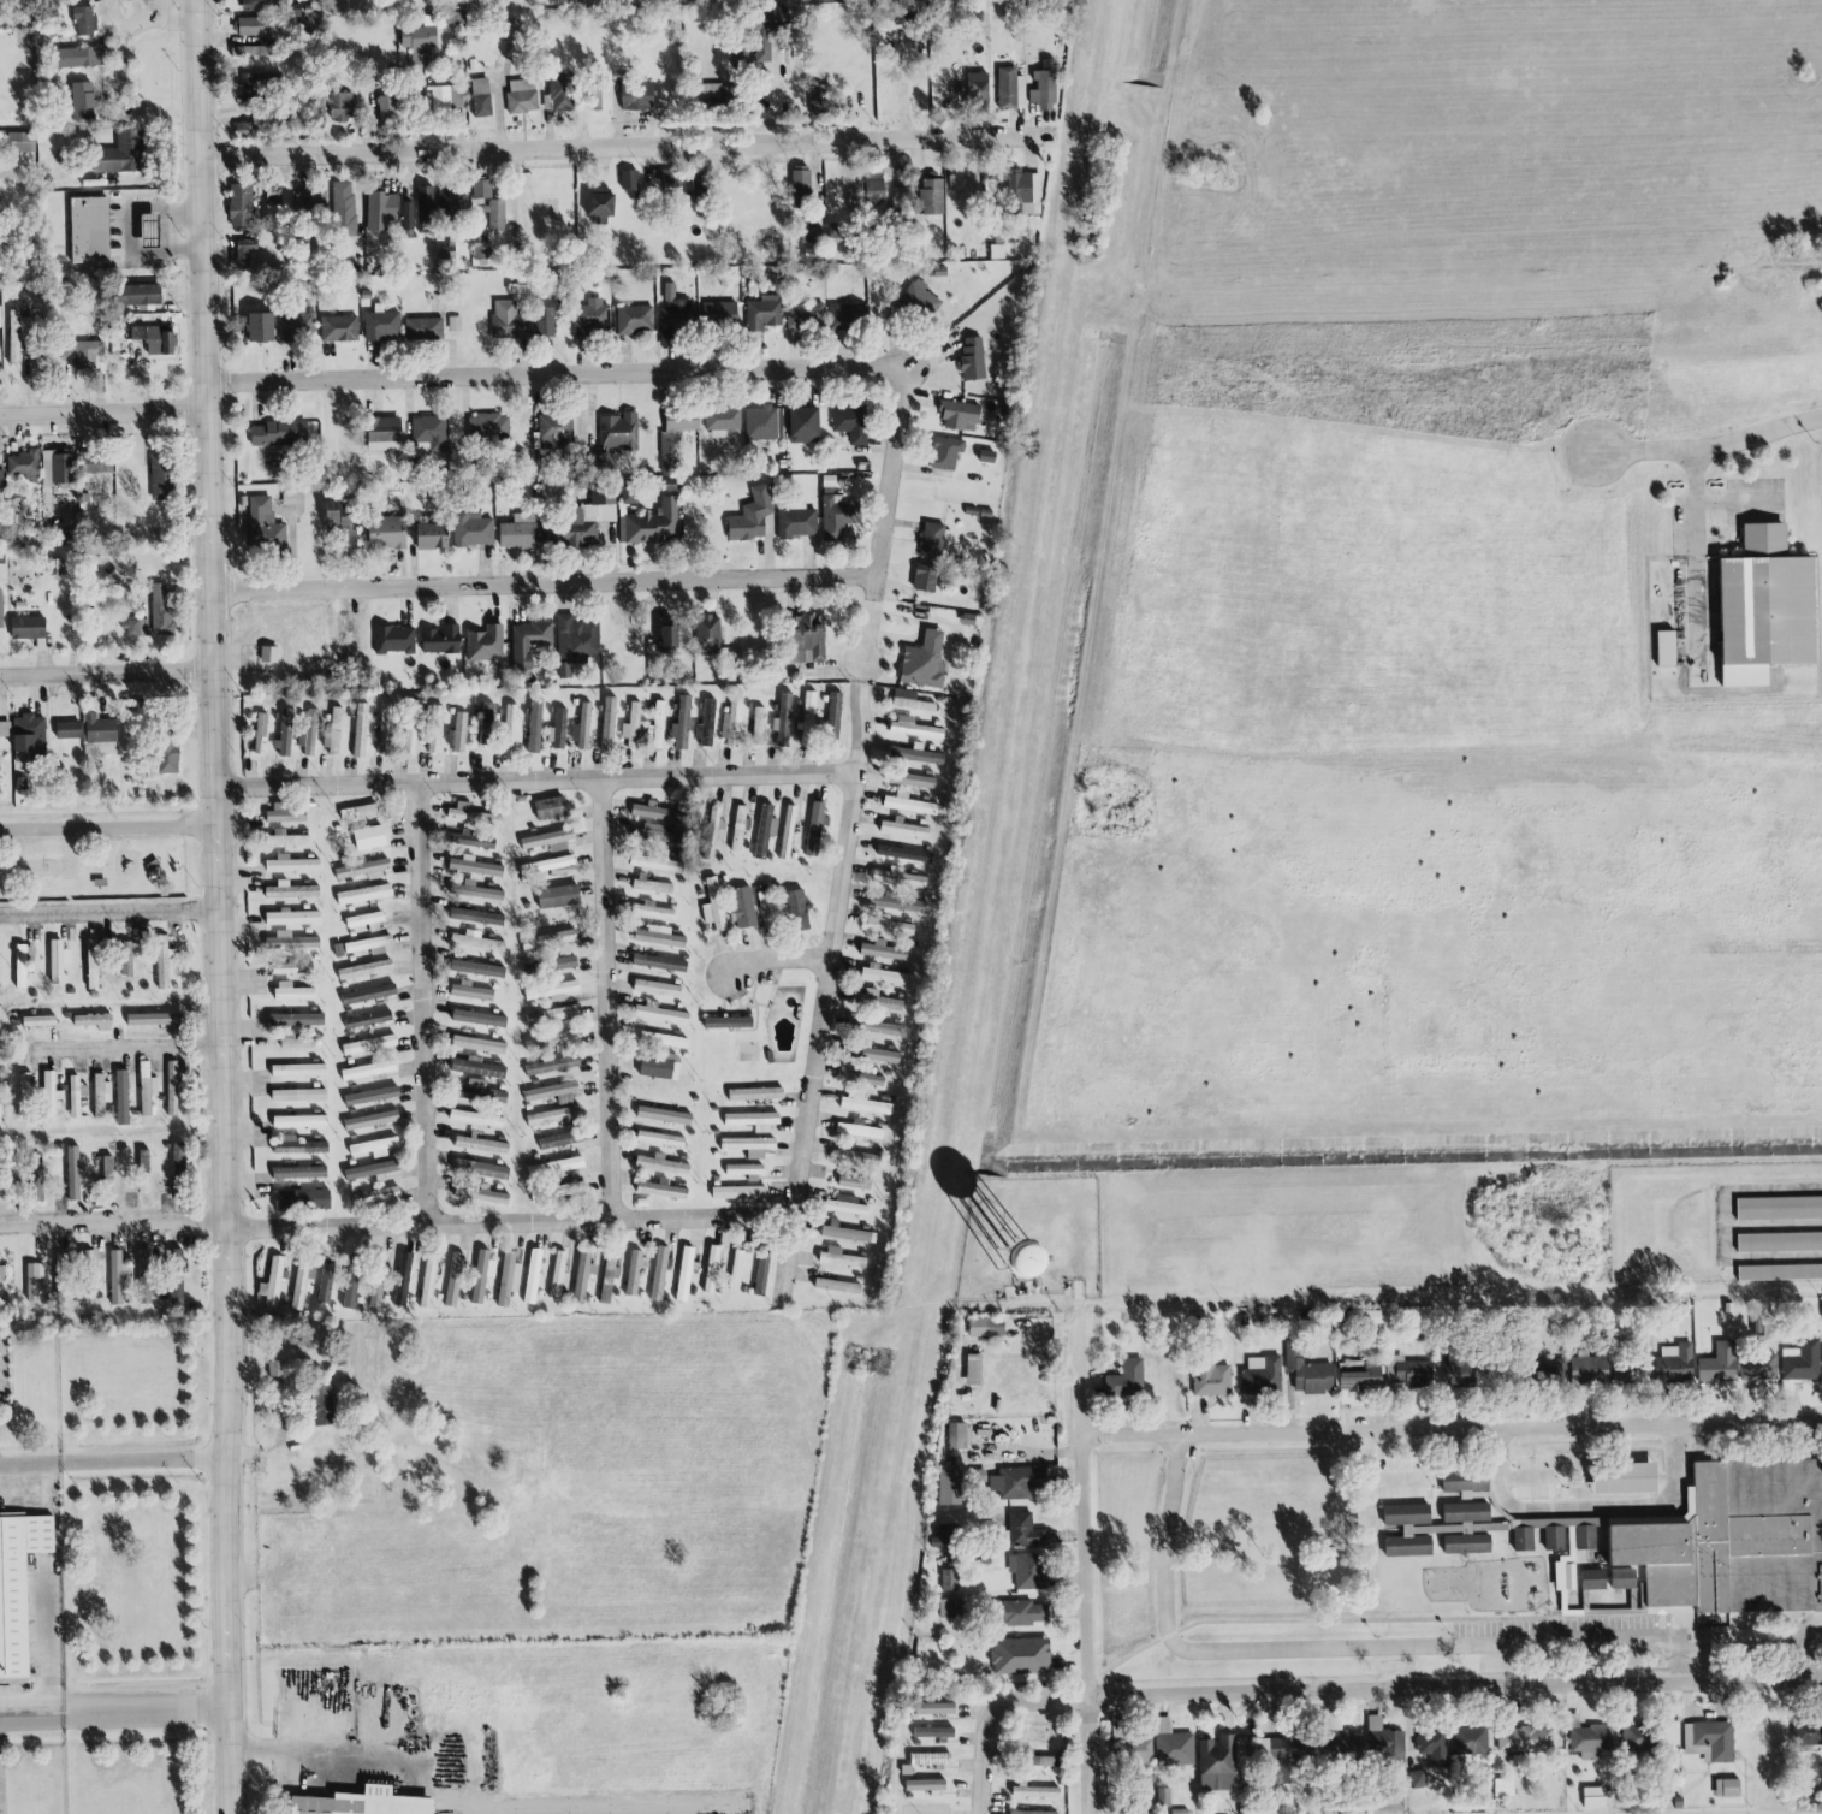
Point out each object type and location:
building: (256, 5)
building: (84, 20)
road: (172, 22)
road: (130, 24)
building: (248, 25)
building: (767, 30)
building: (420, 41)
building: (251, 51)
building: (81, 55)
building: (977, 87)
building: (1004, 87)
building: (1045, 87)
building: (253, 88)
building: (559, 94)
building: (717, 95)
building: (522, 96)
building: (637, 96)
building: (481, 97)
building: (447, 99)
building: (81, 100)
building: (819, 100)
building: (338, 106)
building: (386, 109)
building: (245, 131)
building: (22, 142)
road: (624, 152)
building: (121, 154)
building: (667, 178)
building: (629, 183)
building: (699, 184)
building: (873, 188)
building: (801, 189)
building: (481, 190)
building: (1025, 191)
building: (274, 195)
building: (932, 197)
building: (447, 201)
building: (307, 203)
building: (599, 203)
building: (242, 207)
building: (378, 207)
building: (343, 209)
building: (425, 209)
building: (497, 215)
road: (129, 230)
building: (90, 231)
building: (150, 231)
gas station: (150, 231)
road: (170, 232)
building: (836, 236)
building: (480, 248)
building: (997, 253)
building: (247, 255)
building: (140, 296)
building: (920, 300)
building: (546, 314)
building: (719, 314)
building: (764, 314)
building: (588, 316)
building: (805, 316)
building: (675, 318)
building: (847, 318)
building: (635, 320)
building: (509, 321)
building: (453, 325)
building: (293, 326)
building: (381, 326)
building: (261, 328)
building: (339, 330)
building: (423, 330)
building: (18, 336)
building: (156, 340)
building: (82, 352)
building: (972, 360)
road: (552, 378)
road: (103, 415)
building: (957, 415)
building: (719, 421)
building: (760, 423)
building: (850, 423)
building: (805, 426)
building: (488, 428)
building: (385, 431)
building: (277, 432)
building: (431, 432)
building: (552, 434)
building: (613, 438)
building: (675, 443)
road: (1707, 449)
building: (945, 453)
building: (91, 463)
building: (22, 466)
building: (61, 472)
road: (888, 474)
building: (161, 479)
building: (1, 482)
building: (292, 498)
road: (1741, 502)
building: (752, 517)
building: (836, 517)
building: (582, 521)
building: (340, 523)
building: (796, 523)
building: (263, 524)
building: (652, 524)
building: (469, 529)
building: (387, 532)
building: (518, 533)
building: (433, 538)
building: (932, 541)
road: (1697, 555)
building: (925, 577)
road: (544, 587)
building: (1769, 600)
building: (159, 610)
building: (1, 611)
building: (28, 627)
building: (131, 627)
building: (708, 633)
building: (670, 638)
building: (440, 639)
building: (393, 640)
building: (575, 641)
building: (529, 642)
building: (485, 645)
building: (1667, 648)
building: (268, 656)
building: (922, 659)
road: (106, 675)
road: (866, 675)
building: (910, 701)
building: (833, 711)
building: (734, 718)
building: (783, 718)
building: (807, 718)
building: (486, 723)
building: (607, 723)
building: (658, 724)
building: (681, 724)
building: (706, 724)
building: (510, 725)
building: (758, 725)
building: (534, 727)
building: (581, 727)
building: (631, 727)
building: (385, 728)
building: (914, 728)
building: (5, 729)
building: (260, 729)
building: (434, 729)
building: (69, 730)
building: (360, 730)
building: (557, 730)
building: (28, 731)
building: (310, 731)
building: (284, 733)
building: (333, 733)
building: (99, 734)
building: (458, 734)
building: (410, 735)
building: (167, 753)
building: (915, 754)
building: (910, 779)
road: (535, 781)
building: (909, 804)
building: (550, 807)
building: (358, 812)
building: (657, 812)
building: (285, 814)
building: (471, 814)
building: (815, 826)
road: (108, 828)
building: (902, 828)
building: (738, 829)
building: (764, 830)
building: (789, 831)
building: (660, 832)
building: (712, 834)
building: (285, 837)
building: (369, 837)
building: (548, 840)
park: (100, 853)
building: (903, 854)
building: (655, 862)
building: (291, 864)
building: (473, 865)
building: (547, 865)
building: (361, 869)
building: (898, 878)
building: (651, 885)
building: (291, 890)
building: (475, 891)
building: (363, 894)
building: (558, 895)
building: (897, 903)
building: (713, 905)
road: (216, 906)
building: (741, 906)
building: (766, 909)
building: (796, 909)
building: (654, 911)
road: (108, 914)
building: (292, 917)
building: (475, 917)
building: (366, 921)
building: (889, 925)
building: (659, 937)
building: (546, 938)
building: (290, 942)
building: (475, 942)
building: (362, 944)
building: (883, 950)
building: (129, 956)
road: (778, 960)
building: (58, 961)
building: (162, 961)
building: (95, 962)
building: (659, 962)
building: (20, 966)
building: (289, 968)
building: (477, 968)
building: (364, 970)
building: (884, 976)
building: (657, 989)
building: (550, 990)
building: (292, 991)
building: (470, 991)
building: (369, 994)
road: (607, 1000)
building: (879, 1001)
road: (423, 1003)
building: (659, 1014)
building: (552, 1015)
building: (152, 1019)
building: (296, 1019)
building: (368, 1019)
building: (479, 1019)
building: (38, 1021)
building: (94, 1021)
building: (729, 1022)
building: (883, 1028)
road: (820, 1032)
building: (664, 1041)
building: (552, 1042)
building: (369, 1044)
building: (477, 1045)
road: (129, 1047)
building: (871, 1054)
building: (553, 1066)
building: (657, 1066)
building: (476, 1067)
building: (297, 1069)
building: (368, 1069)
building: (867, 1079)
building: (24, 1083)
building: (147, 1087)
building: (172, 1087)
building: (101, 1090)
building: (550, 1091)
building: (755, 1093)
building: (76, 1095)
building: (297, 1095)
building: (51, 1096)
building: (370, 1096)
building: (123, 1097)
building: (865, 1105)
building: (552, 1115)
building: (664, 1115)
building: (476, 1119)
building: (370, 1120)
building: (753, 1120)
building: (299, 1121)
building: (859, 1130)
building: (560, 1139)
building: (660, 1139)
building: (481, 1145)
building: (748, 1145)
building: (298, 1146)
building: (373, 1148)
building: (857, 1157)
building: (143, 1160)
building: (663, 1164)
building: (107, 1167)
building: (178, 1167)
building: (556, 1167)
building: (481, 1169)
building: (743, 1169)
building: (370, 1170)
building: (73, 1173)
building: (298, 1173)
building: (34, 1176)
building: (854, 1184)
building: (661, 1190)
building: (558, 1191)
building: (740, 1192)
building: (480, 1194)
building: (373, 1196)
building: (302, 1199)
building: (847, 1205)
building: (1779, 1209)
road: (112, 1221)
road: (509, 1221)
building: (848, 1234)
building: (1779, 1243)
building: (839, 1258)
building: (1044, 1258)
building: (738, 1268)
building: (712, 1269)
building: (762, 1270)
building: (684, 1273)
building: (1779, 1273)
building: (2, 1274)
building: (481, 1274)
building: (633, 1274)
building: (659, 1274)
building: (557, 1275)
building: (582, 1275)
building: (117, 1276)
building: (144, 1276)
building: (532, 1276)
building: (403, 1279)
building: (609, 1279)
building: (34, 1280)
building: (453, 1280)
building: (508, 1280)
building: (351, 1281)
building: (428, 1281)
building: (273, 1284)
building: (325, 1284)
building: (837, 1286)
building: (299, 1288)
building: (176, 1294)
building: (986, 1327)
building: (1802, 1362)
building: (1674, 1364)
building: (1719, 1364)
building: (1758, 1368)
building: (275, 1369)
building: (1458, 1369)
building: (1590, 1369)
building: (973, 1370)
building: (1550, 1370)
building: (1631, 1370)
building: (1307, 1371)
building: (1409, 1373)
building: (1259, 1375)
building: (1358, 1377)
building: (1209, 1379)
building: (1126, 1380)
building: (324, 1405)
road: (1452, 1429)
building: (957, 1436)
road: (114, 1462)
road: (1370, 1477)
building: (1626, 1478)
building: (1466, 1481)
building: (1015, 1482)
building: (950, 1487)
building: (1474, 1495)
road: (1587, 1507)
building: (1467, 1513)
building: (1460, 1529)
building: (1408, 1530)
building: (1025, 1531)
building: (944, 1537)
building: (1585, 1537)
building: (1524, 1539)
building: (1555, 1539)
building: (1734, 1541)
building: (1467, 1543)
road: (1085, 1557)
building: (1566, 1570)
building: (1031, 1571)
building: (950, 1575)
building: (1593, 1579)
building: (1624, 1579)
building: (18, 1587)
building: (950, 1608)
building: (1013, 1613)
road: (1385, 1622)
parking lot: (1615, 1625)
parking lot: (1495, 1632)
road: (1800, 1646)
road: (1341, 1648)
building: (1021, 1656)
road: (1455, 1686)
road: (48, 1701)
building: (936, 1708)
road: (115, 1709)
road: (991, 1712)
building: (934, 1733)
building: (1806, 1733)
building: (1039, 1735)
building: (1383, 1737)
building: (1638, 1737)
building: (1470, 1741)
building: (1589, 1741)
building: (1710, 1741)
building: (1525, 1743)
building: (1173, 1749)
building: (1140, 1750)
road: (322, 1755)
building: (1217, 1757)
building: (1281, 1757)
building: (931, 1760)
building: (1041, 1761)
building: (906, 1769)
building: (925, 1786)
building: (1727, 1788)
building: (1035, 1792)
building: (1163, 1797)
building: (1600, 1797)
building: (361, 1803)
building: (926, 1810)
building: (1029, 1813)

